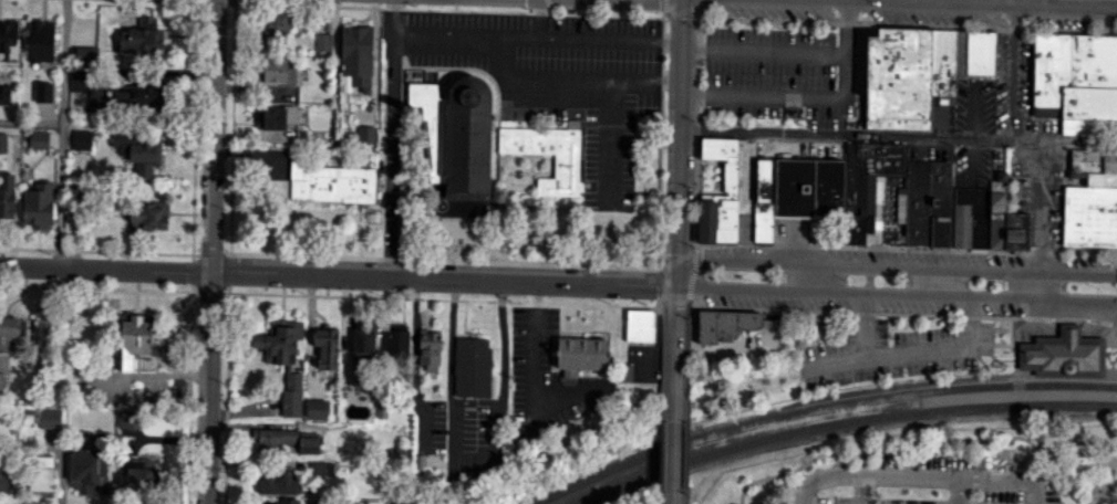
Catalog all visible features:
road: (940, 2)
road: (975, 2)
road: (935, 3)
road: (1014, 3)
road: (1048, 3)
road: (664, 9)
road: (700, 9)
road: (681, 11)
road: (575, 13)
road: (394, 15)
building: (276, 27)
road: (537, 35)
building: (41, 40)
building: (322, 42)
building: (9, 43)
road: (762, 51)
building: (961, 52)
building: (981, 53)
building: (85, 54)
building: (355, 60)
building: (1094, 60)
building: (942, 66)
building: (1051, 67)
building: (278, 72)
parking lot: (777, 73)
road: (1012, 73)
road: (571, 77)
building: (859, 77)
building: (898, 78)
building: (77, 80)
parking lot: (560, 80)
parking lot: (1015, 83)
building: (44, 91)
building: (136, 94)
road: (808, 97)
building: (1088, 102)
parking lot: (974, 104)
building: (279, 116)
road: (817, 116)
road: (31, 123)
building: (81, 126)
building: (1088, 127)
road: (62, 133)
road: (695, 133)
road: (214, 135)
building: (365, 135)
road: (845, 135)
building: (40, 139)
building: (79, 140)
building: (2, 141)
building: (457, 141)
road: (678, 144)
road: (390, 154)
building: (724, 161)
building: (1094, 161)
building: (566, 165)
building: (1102, 178)
building: (331, 182)
building: (866, 185)
building: (809, 187)
parking lot: (1041, 189)
building: (745, 190)
building: (7, 192)
road: (1040, 192)
building: (39, 203)
building: (917, 203)
building: (939, 204)
building: (1090, 216)
building: (149, 217)
building: (971, 217)
building: (717, 220)
building: (763, 221)
building: (1016, 231)
building: (995, 233)
road: (695, 245)
road: (320, 255)
parking lot: (923, 258)
road: (678, 259)
parking lot: (1084, 263)
road: (890, 266)
road: (692, 273)
road: (339, 275)
road: (939, 283)
road: (1036, 286)
flagpole: (1096, 287)
road: (897, 295)
road: (689, 302)
parking lot: (854, 303)
road: (856, 312)
road: (1084, 317)
building: (722, 322)
road: (1040, 324)
building: (639, 325)
road: (1098, 325)
road: (865, 326)
building: (816, 329)
building: (8, 330)
road: (1069, 334)
road: (1110, 336)
building: (368, 339)
building: (397, 342)
road: (676, 344)
building: (325, 347)
building: (430, 350)
parking lot: (890, 351)
road: (910, 351)
building: (581, 354)
building: (1063, 354)
building: (283, 359)
road: (414, 366)
building: (473, 366)
building: (624, 371)
road: (1109, 371)
road: (1109, 371)
building: (360, 380)
road: (211, 387)
building: (180, 388)
railway: (794, 400)
building: (317, 409)
railway: (819, 409)
building: (50, 418)
building: (127, 420)
railway: (838, 421)
building: (277, 439)
building: (309, 444)
road: (685, 444)
road: (922, 444)
road: (674, 445)
road: (470, 460)
road: (1106, 464)
road: (1107, 470)
building: (89, 472)
building: (141, 473)
road: (883, 474)
building: (42, 475)
building: (3, 477)
parking lot: (938, 480)
road: (1006, 480)
building: (277, 482)
park: (738, 484)
road: (1094, 494)
road: (672, 497)
road: (684, 497)
road: (1088, 498)
road: (1105, 500)
building: (286, 501)

